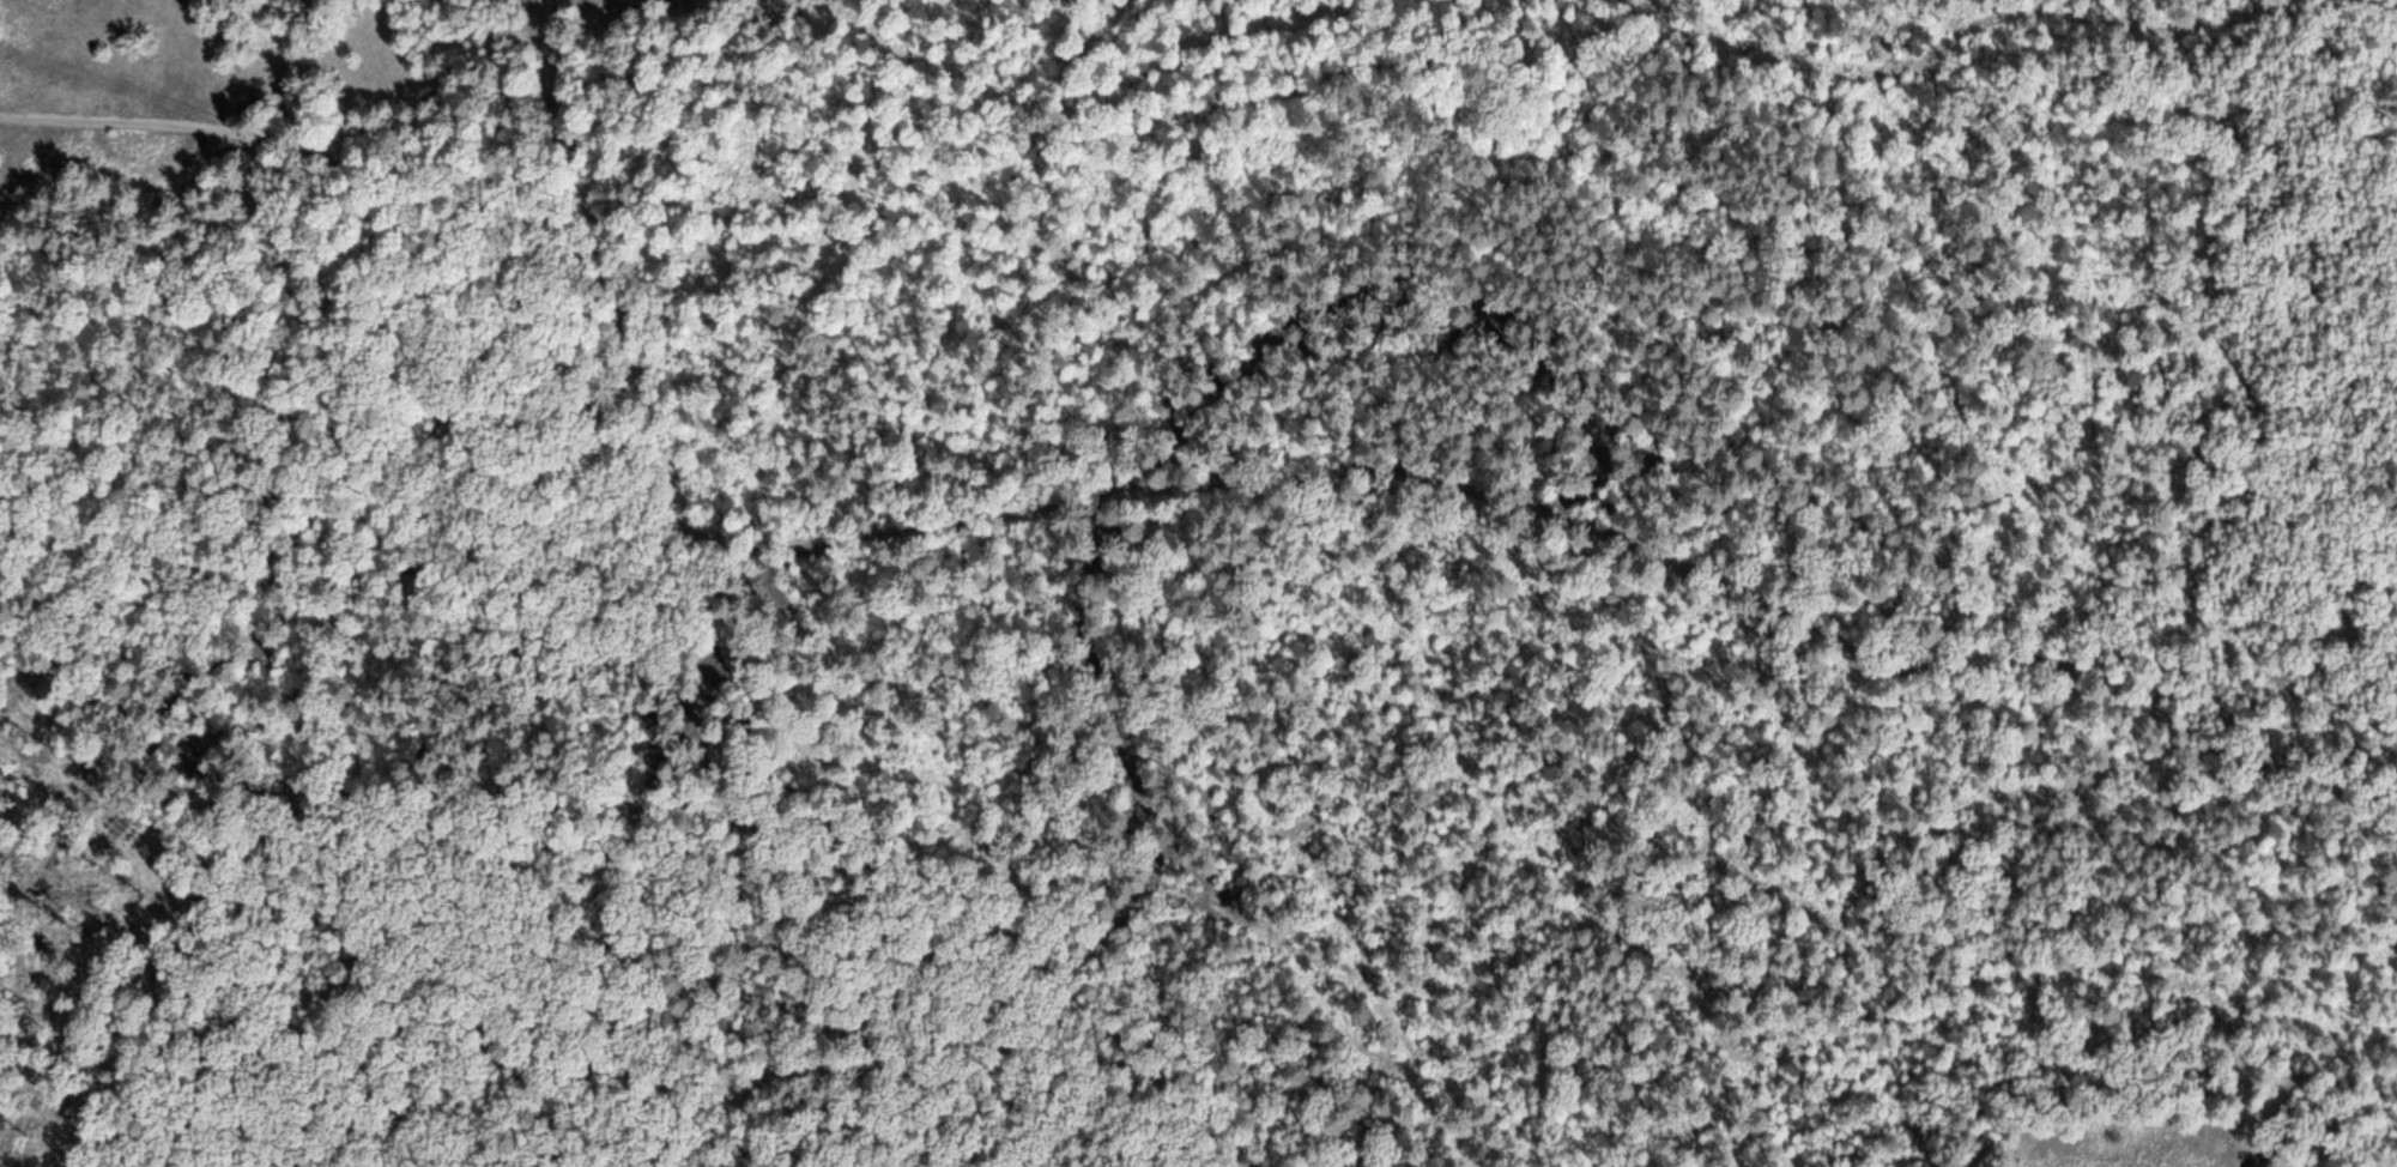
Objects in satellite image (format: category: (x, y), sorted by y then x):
road: (121, 86)
road: (434, 240)
road: (1606, 532)
road: (736, 550)
road: (740, 675)

